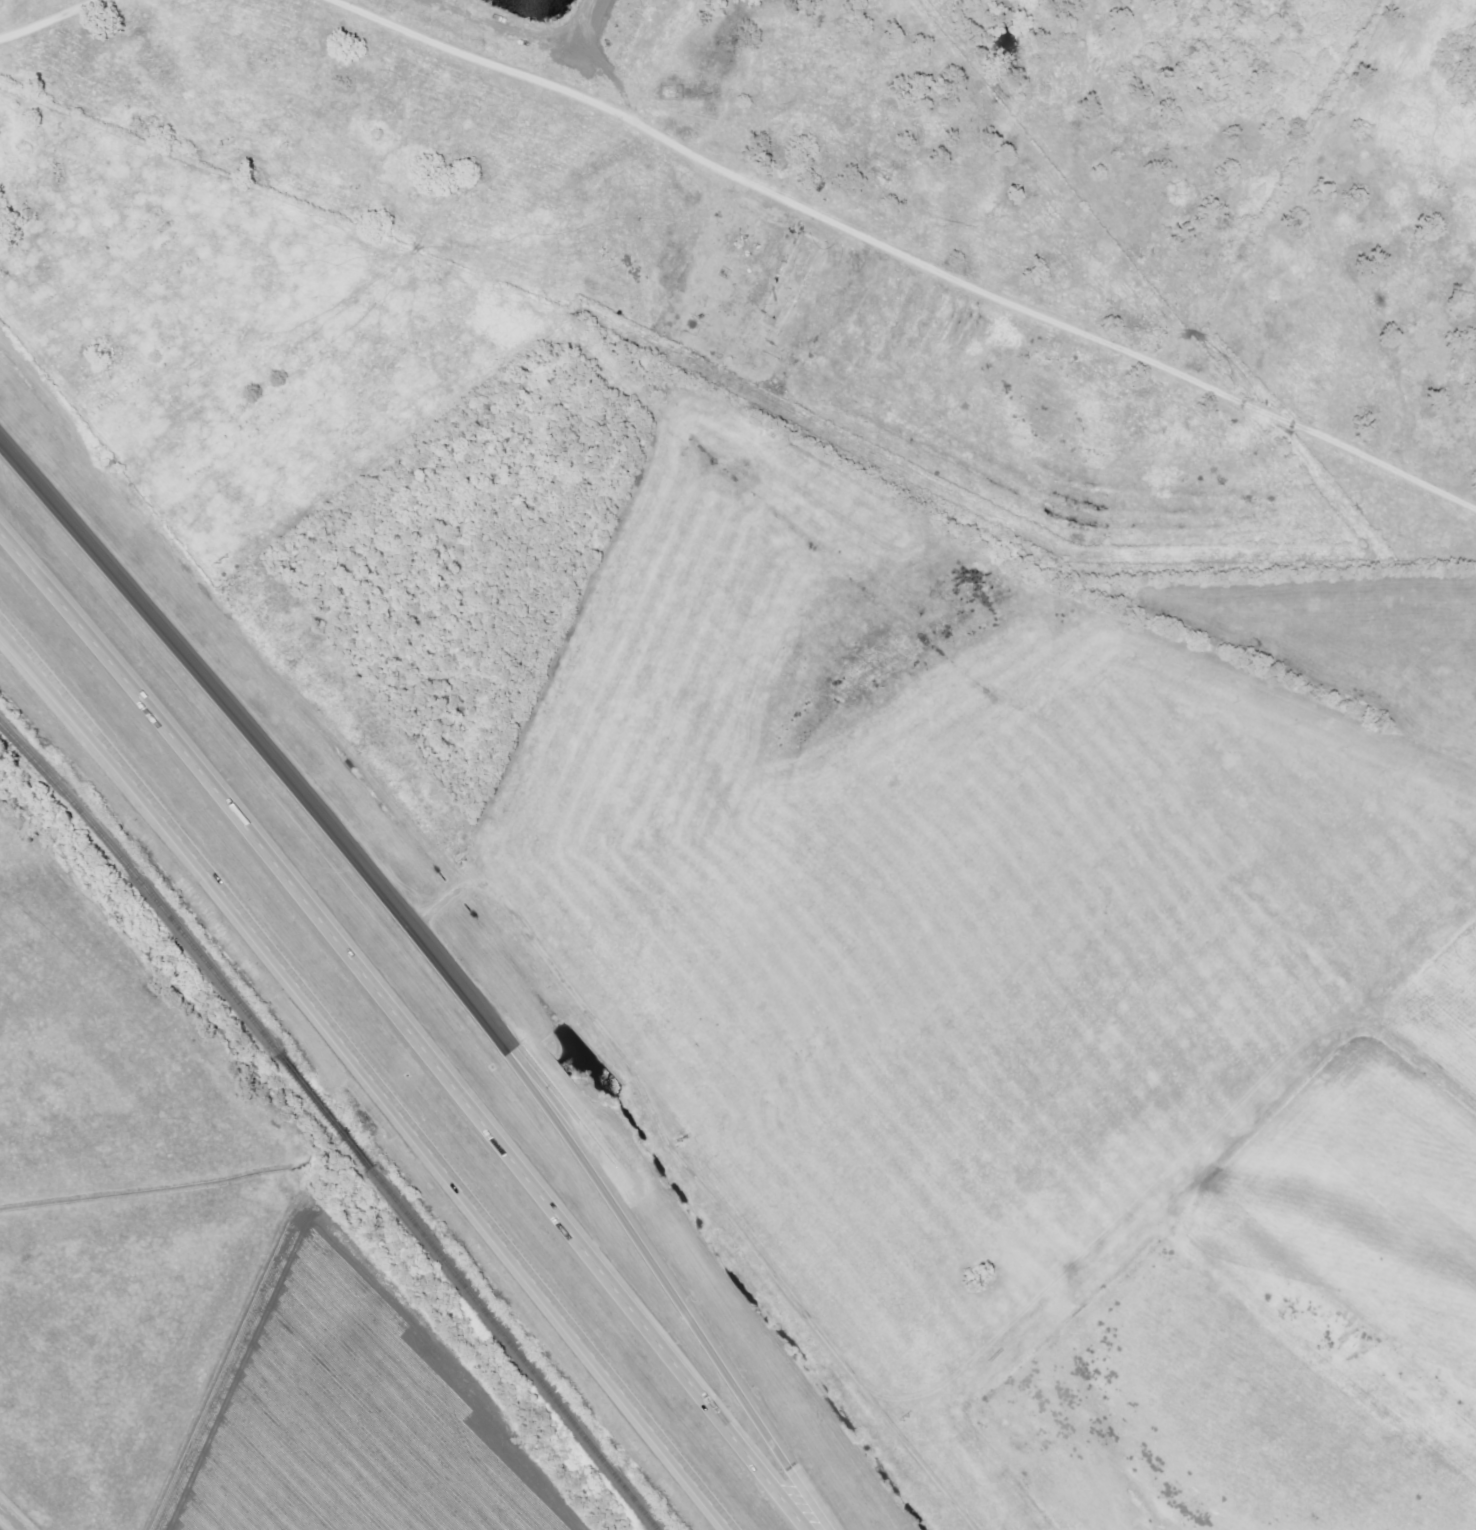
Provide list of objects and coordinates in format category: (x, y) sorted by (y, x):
road: (48, 20)
road: (907, 246)
power tower: (216, 559)
railway: (28, 731)
road: (261, 753)
power tower: (472, 864)
road: (400, 1046)
road: (366, 1081)
railway: (334, 1121)
power tower: (685, 1141)
road: (678, 1297)
power tower: (907, 1417)
road: (11, 1518)

